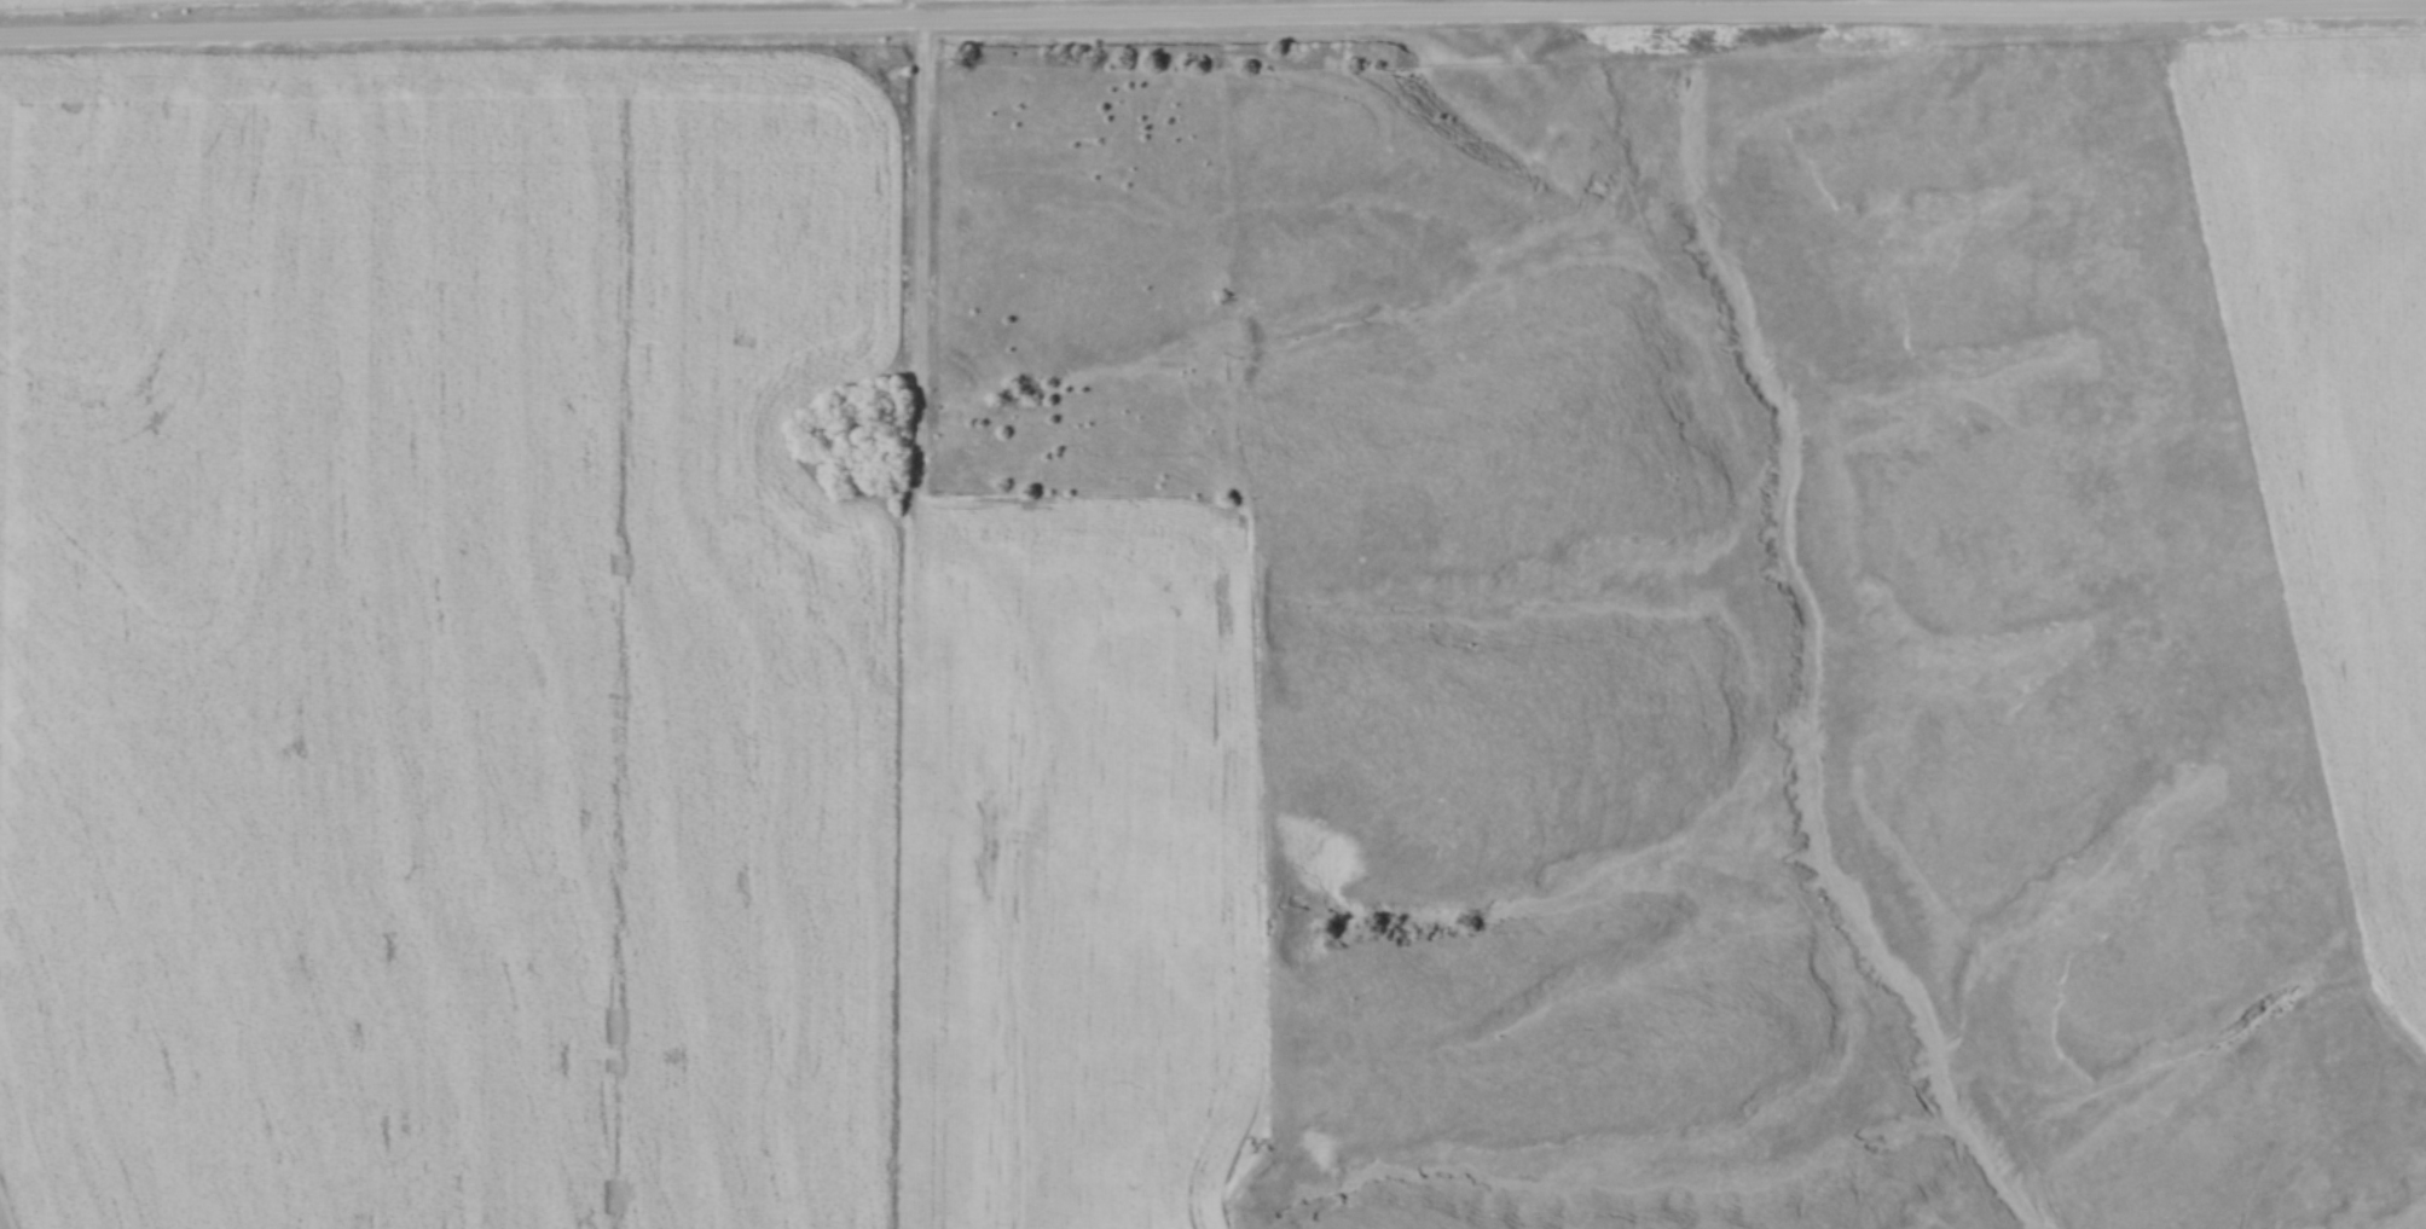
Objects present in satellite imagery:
road: (1212, 11)
crop: (2335, 408)

